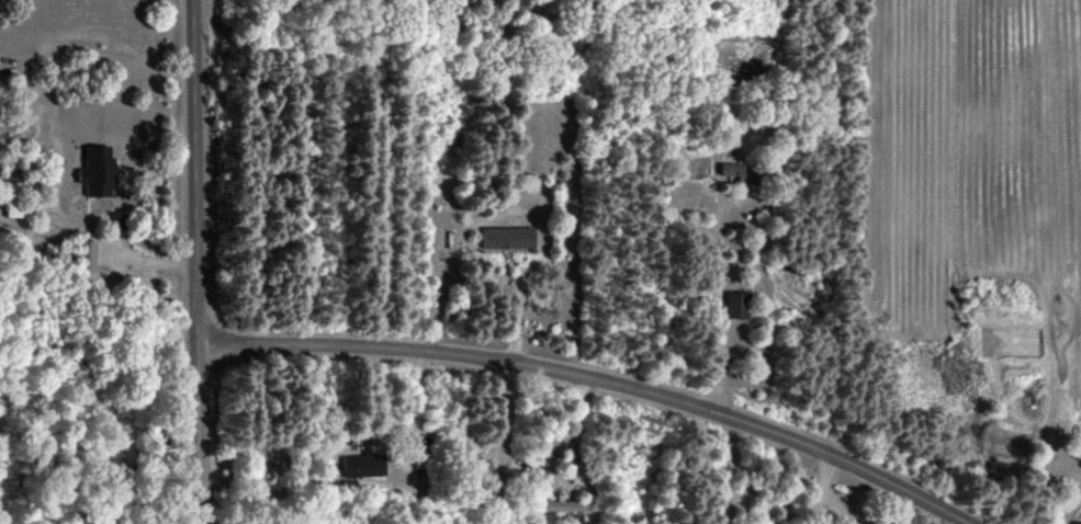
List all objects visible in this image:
building: (97, 170)
building: (735, 170)
building: (14, 192)
building: (507, 237)
road: (294, 246)
building: (85, 254)
road: (194, 262)
building: (736, 304)
road: (724, 317)
road: (594, 381)
road: (920, 455)
building: (362, 463)
road: (818, 491)
building: (565, 504)

